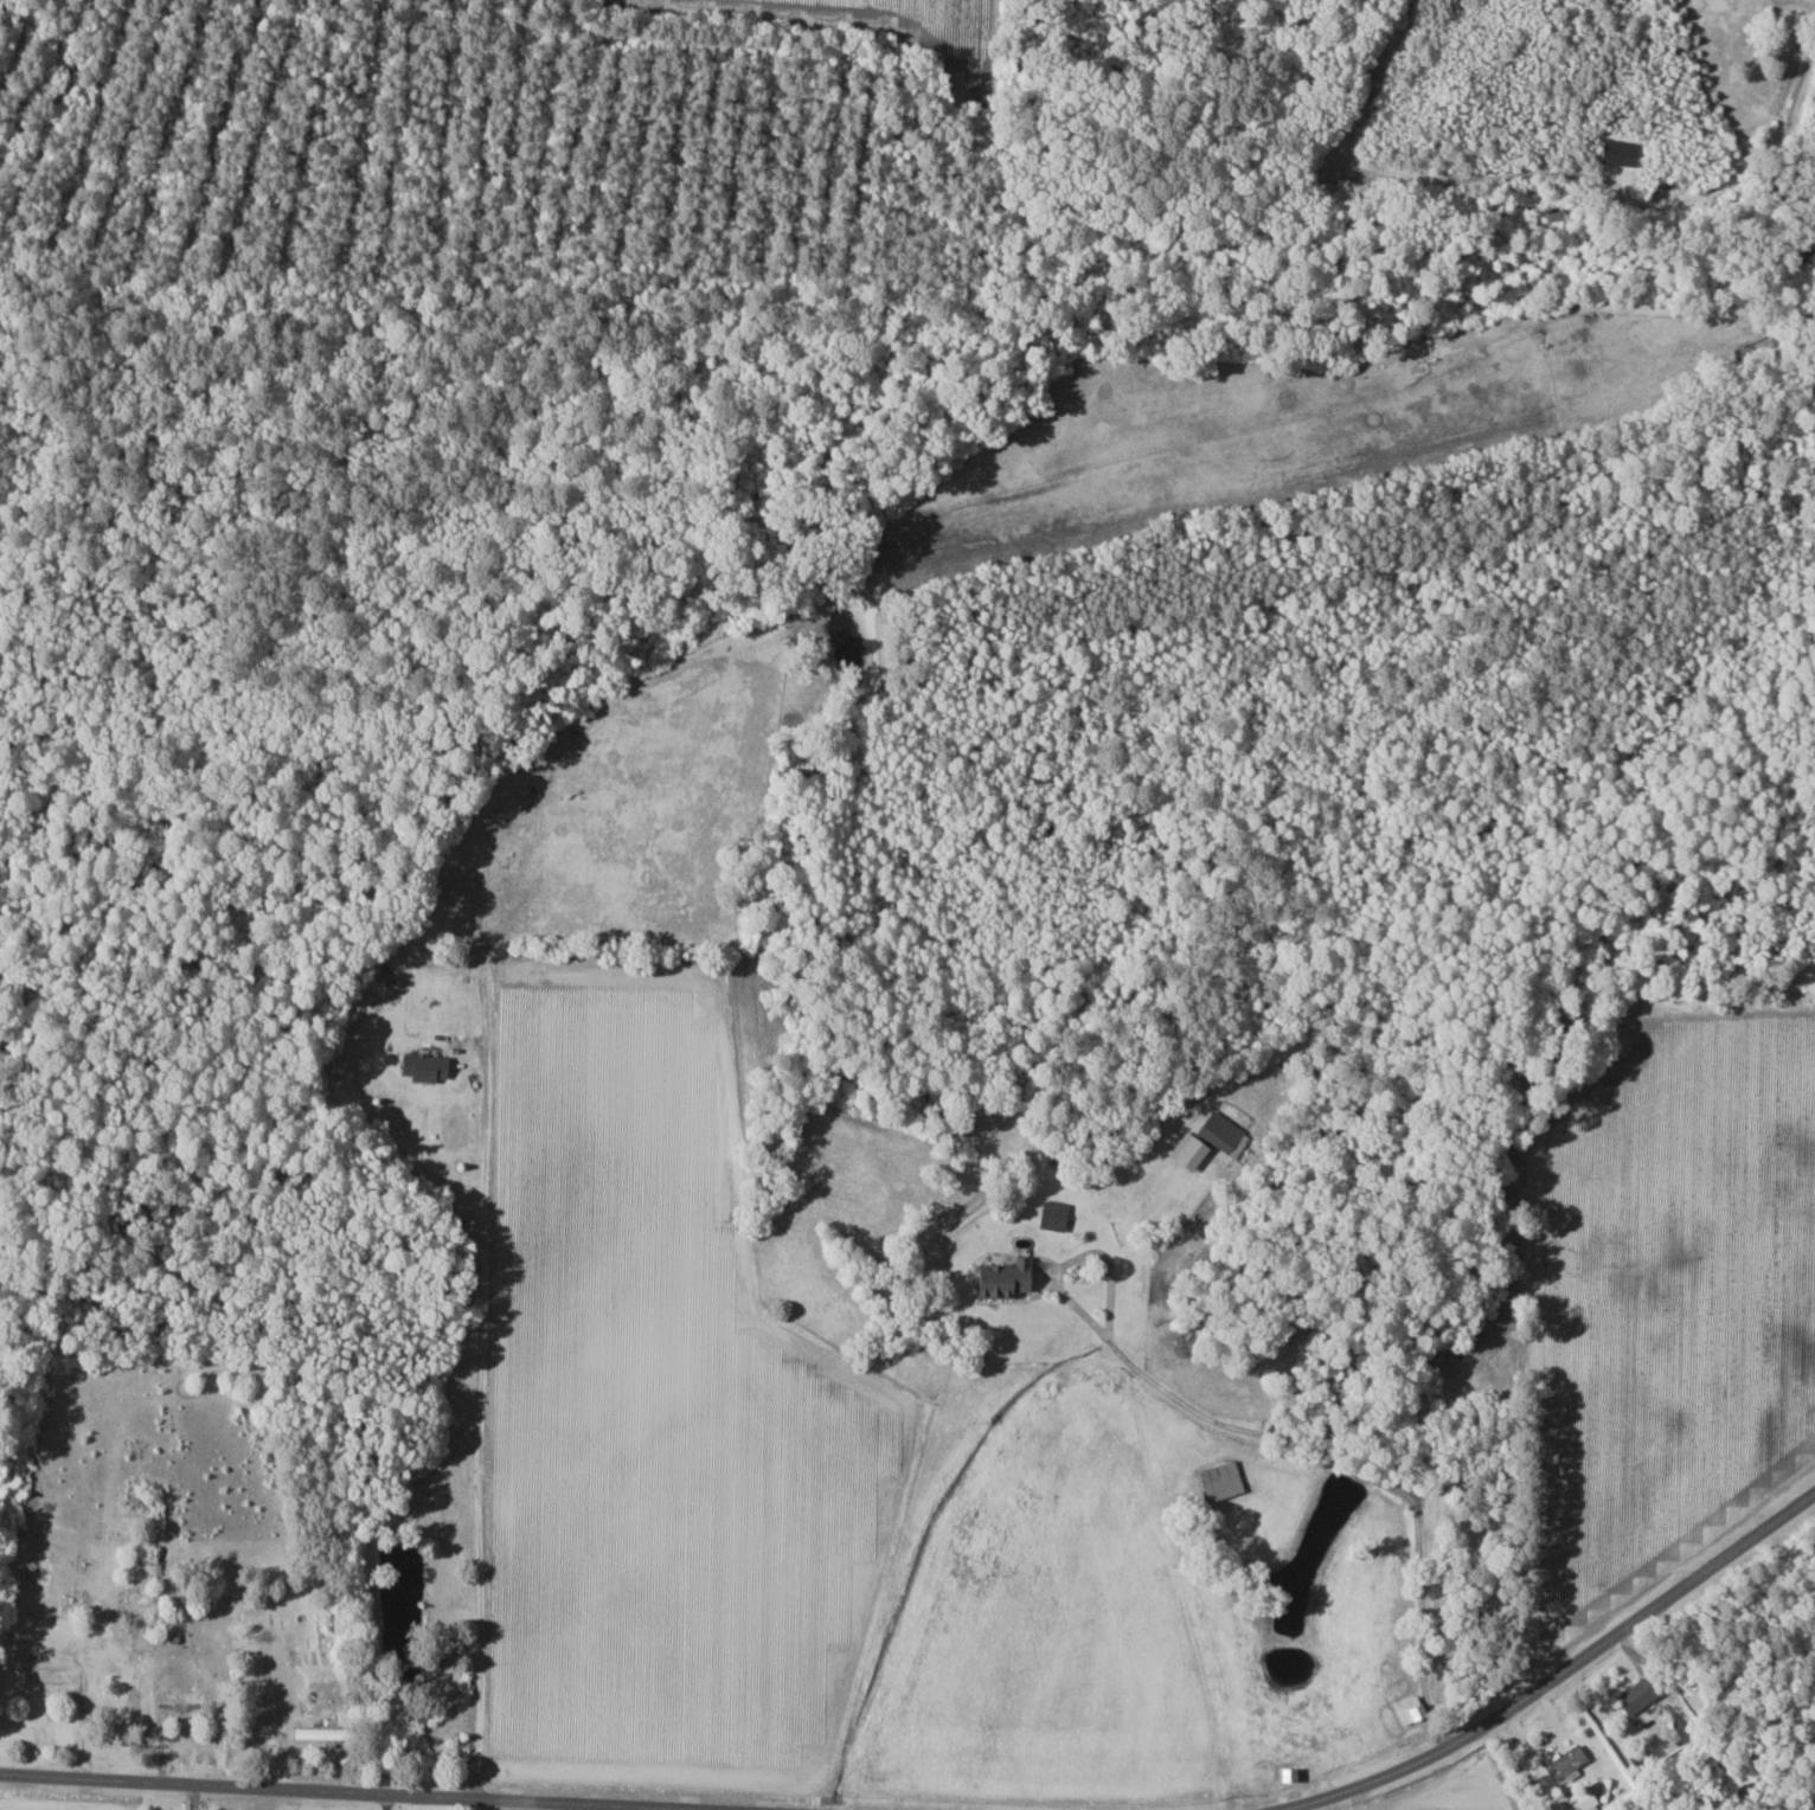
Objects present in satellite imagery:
building: (1624, 1045)
building: (427, 1065)
building: (1211, 1140)
building: (1008, 1277)
road: (480, 1427)
road: (1268, 1431)
building: (44, 1674)
road: (1563, 1674)
building: (1641, 1694)
building: (187, 1697)
building: (1413, 1709)
building: (1567, 1763)
road: (347, 1791)
road: (194, 1796)
building: (1584, 1799)

